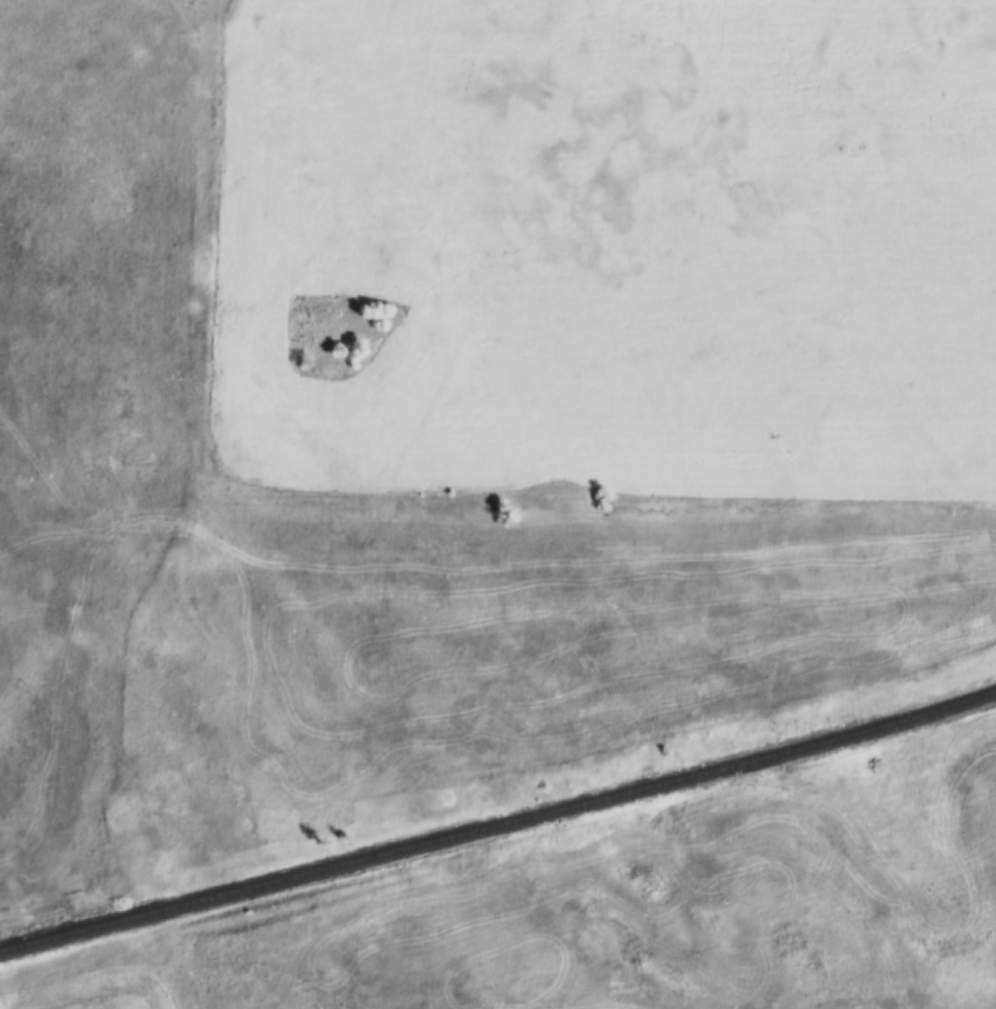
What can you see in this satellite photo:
railway: (499, 825)

